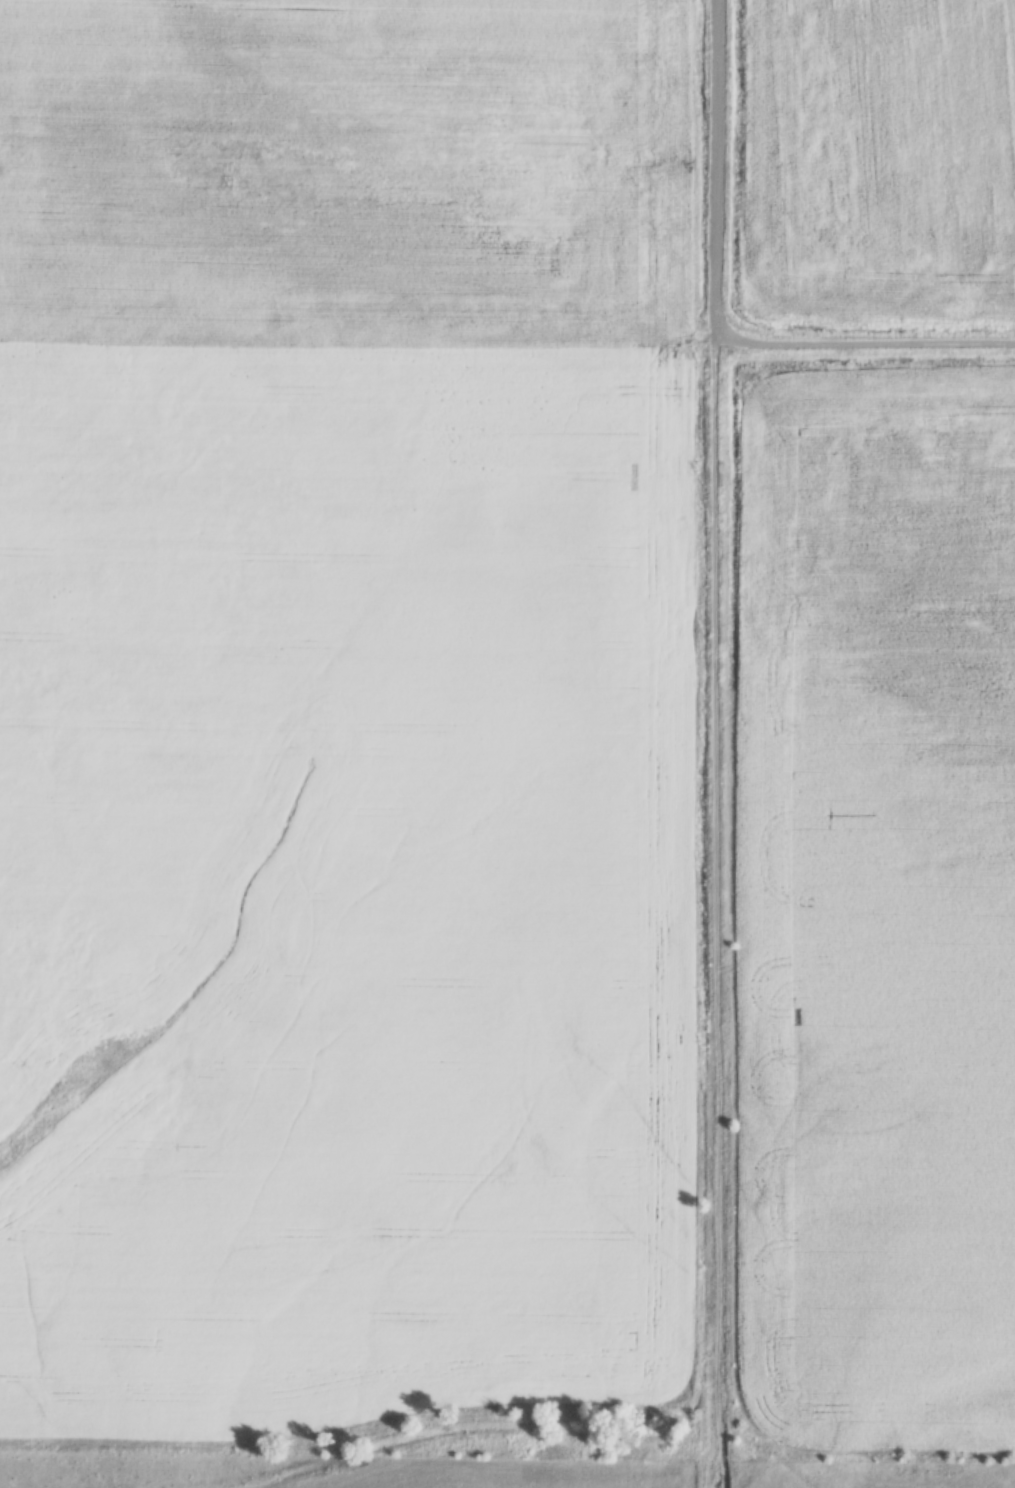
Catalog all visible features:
road: (717, 171)
road: (866, 342)
road: (716, 914)

